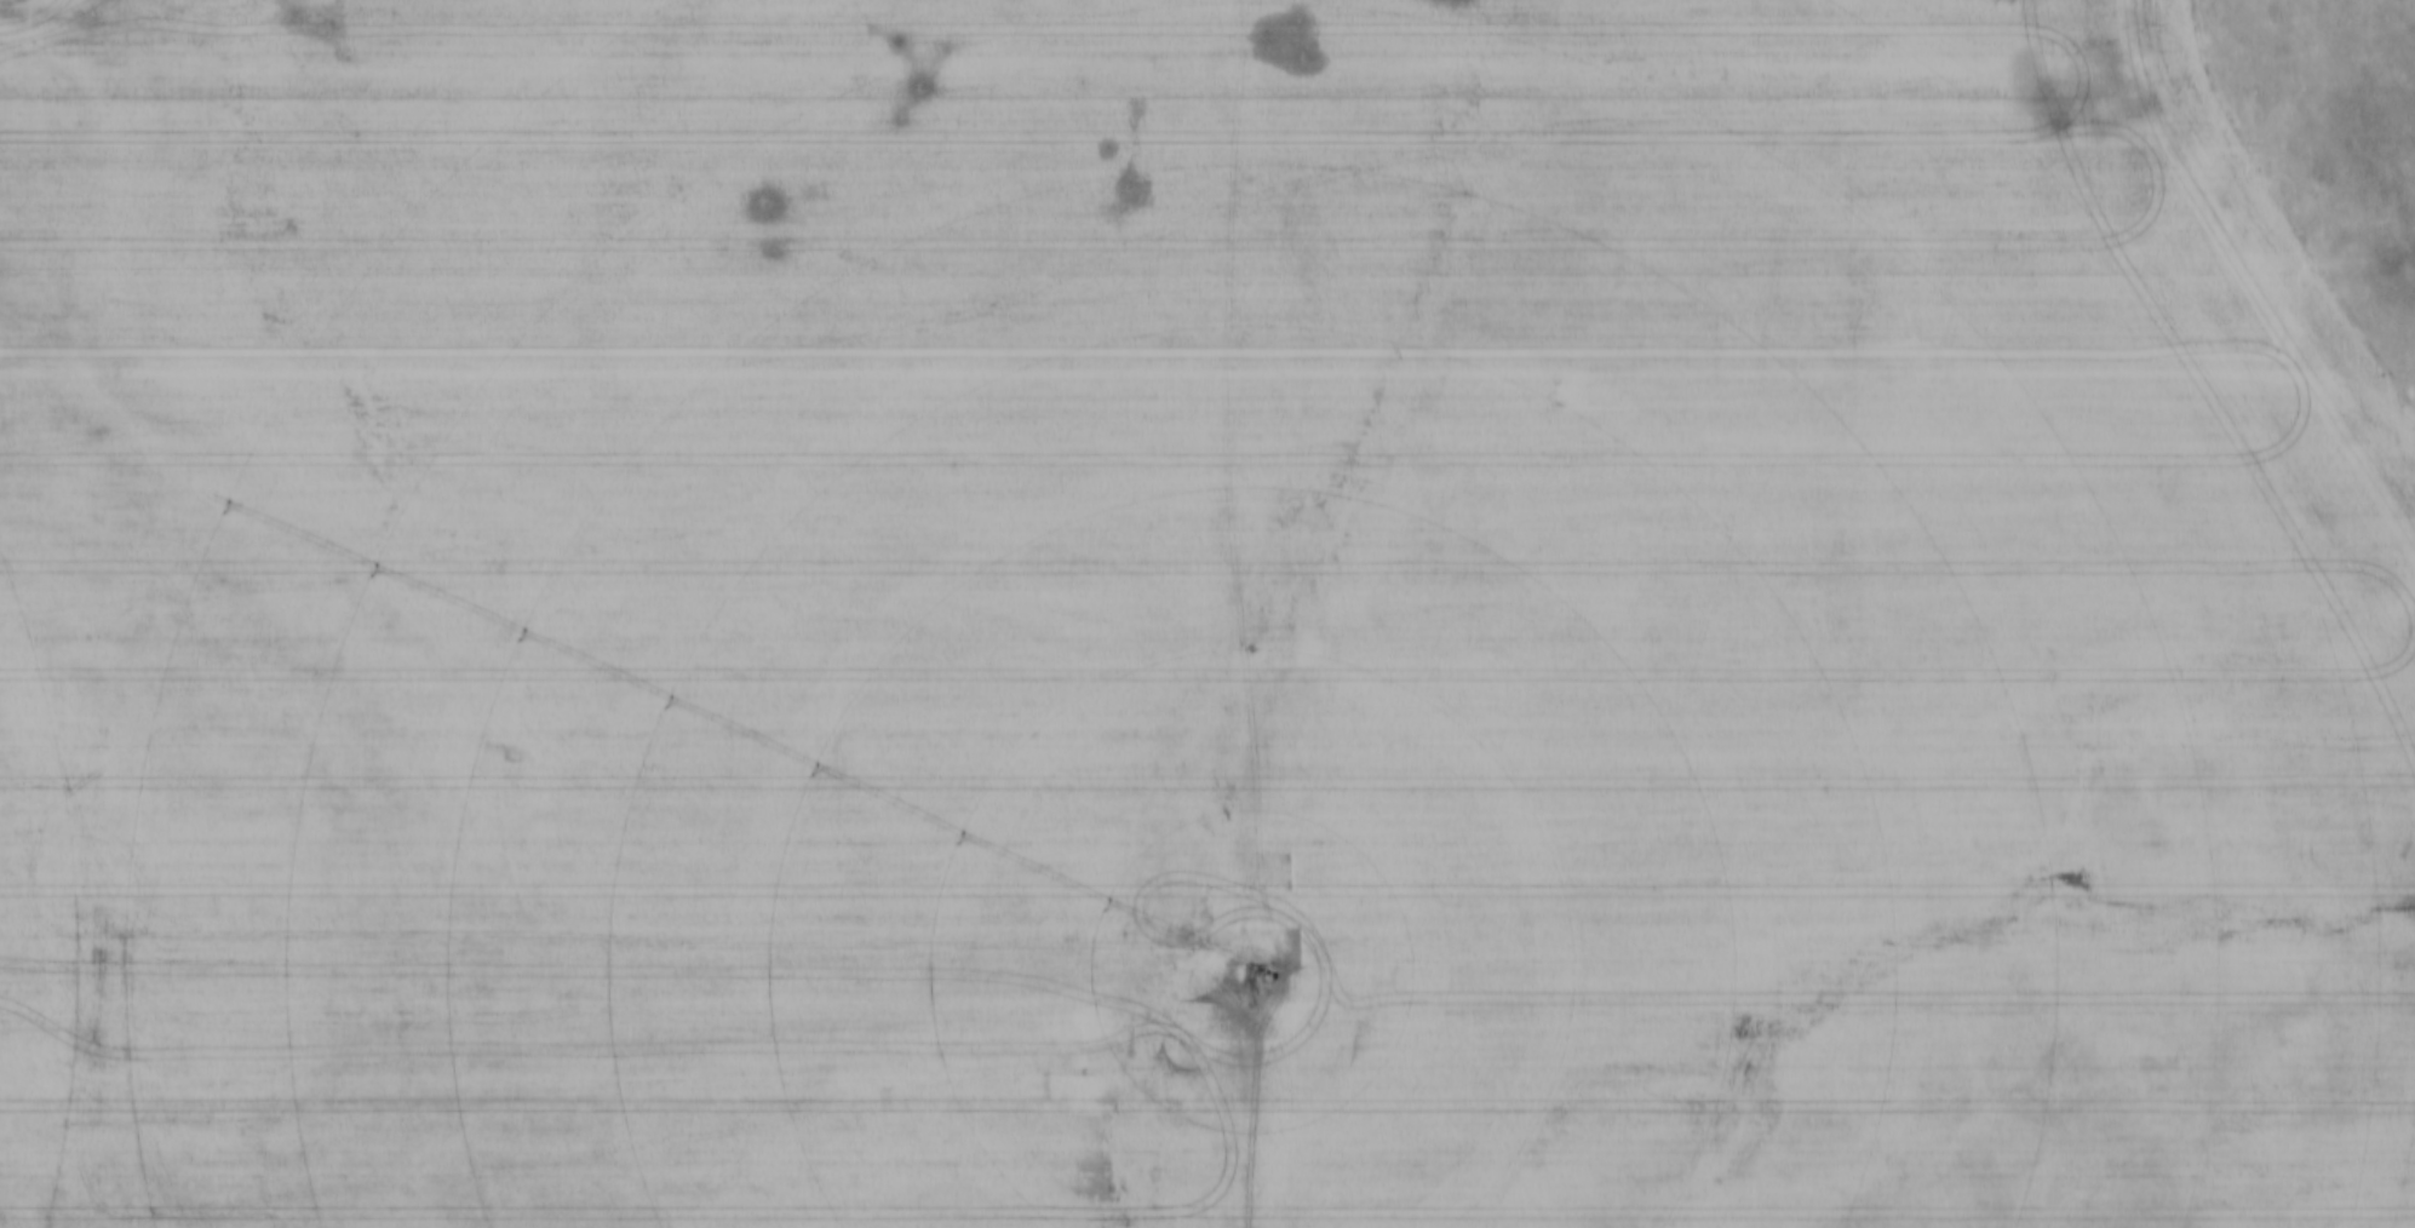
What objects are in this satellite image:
crop: (1184, 622)

